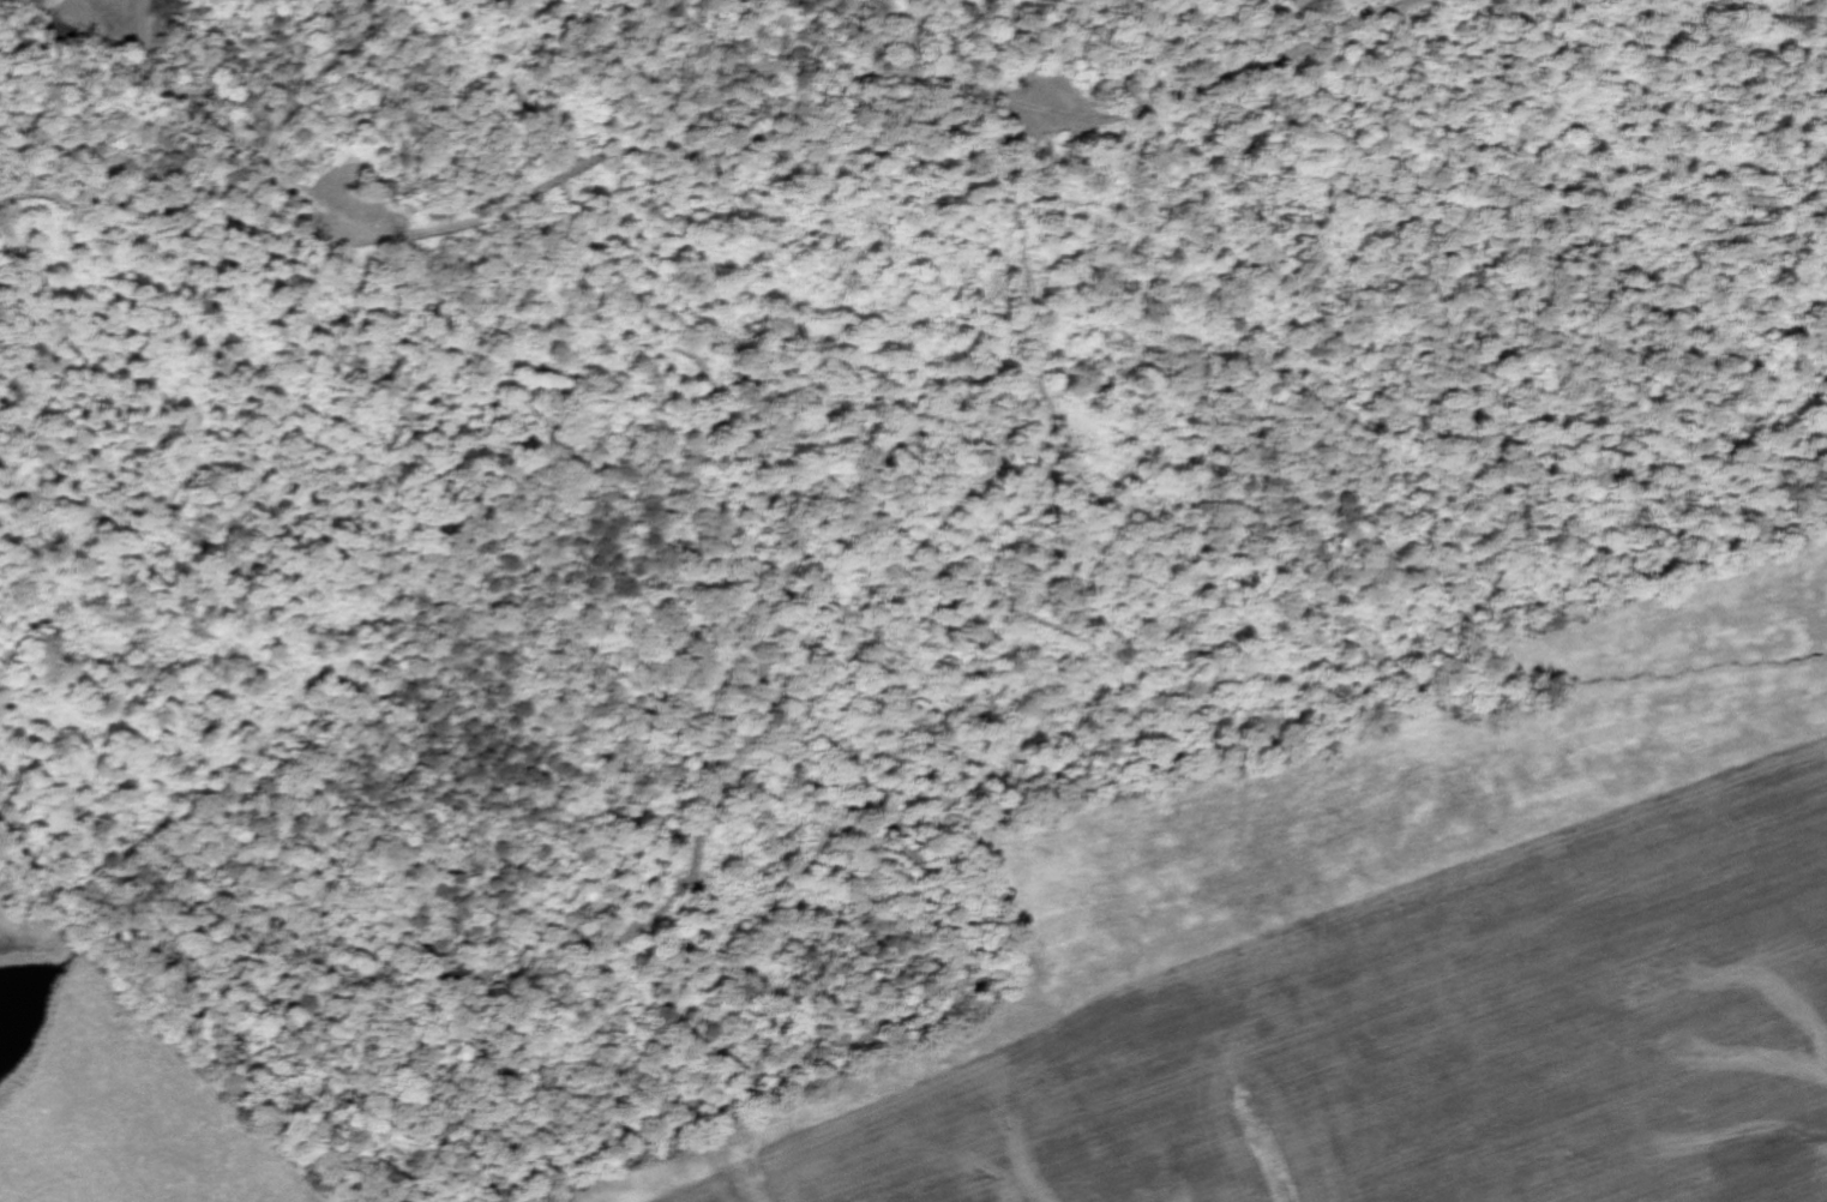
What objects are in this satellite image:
road: (1695, 1137)

